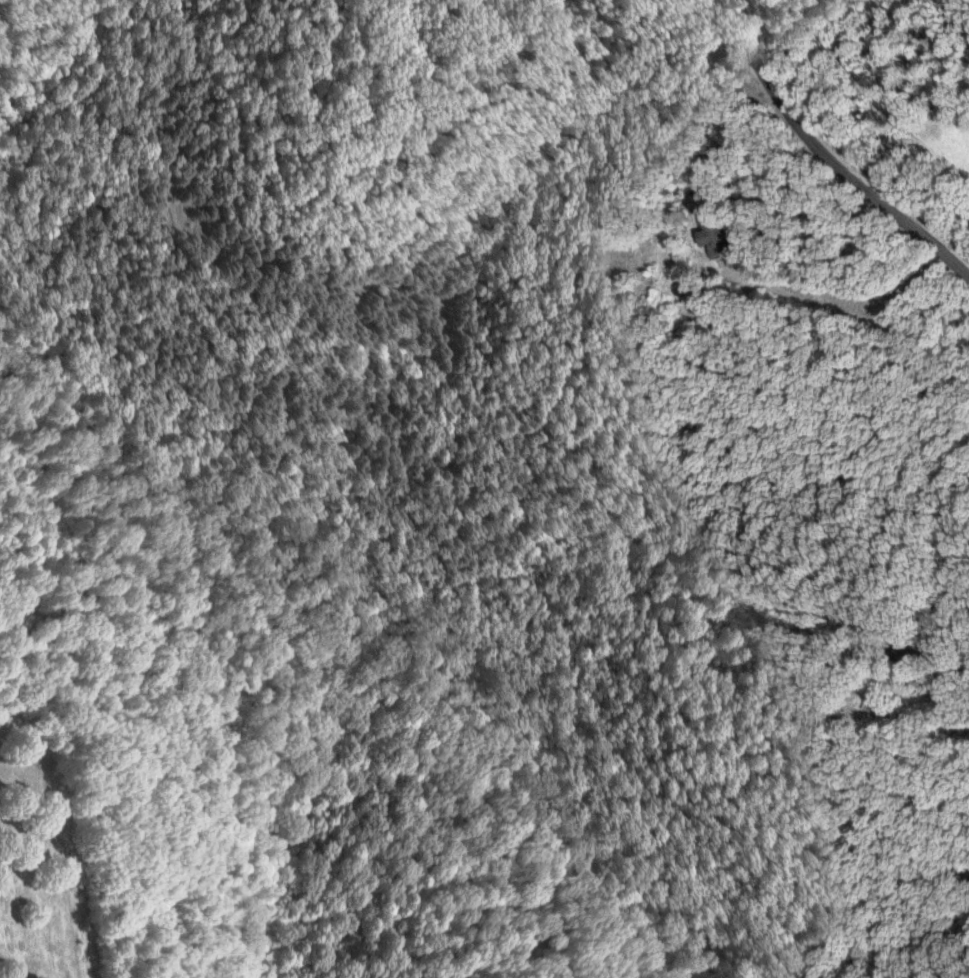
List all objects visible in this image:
road: (827, 161)
building: (716, 236)
road: (847, 321)
road: (955, 600)

